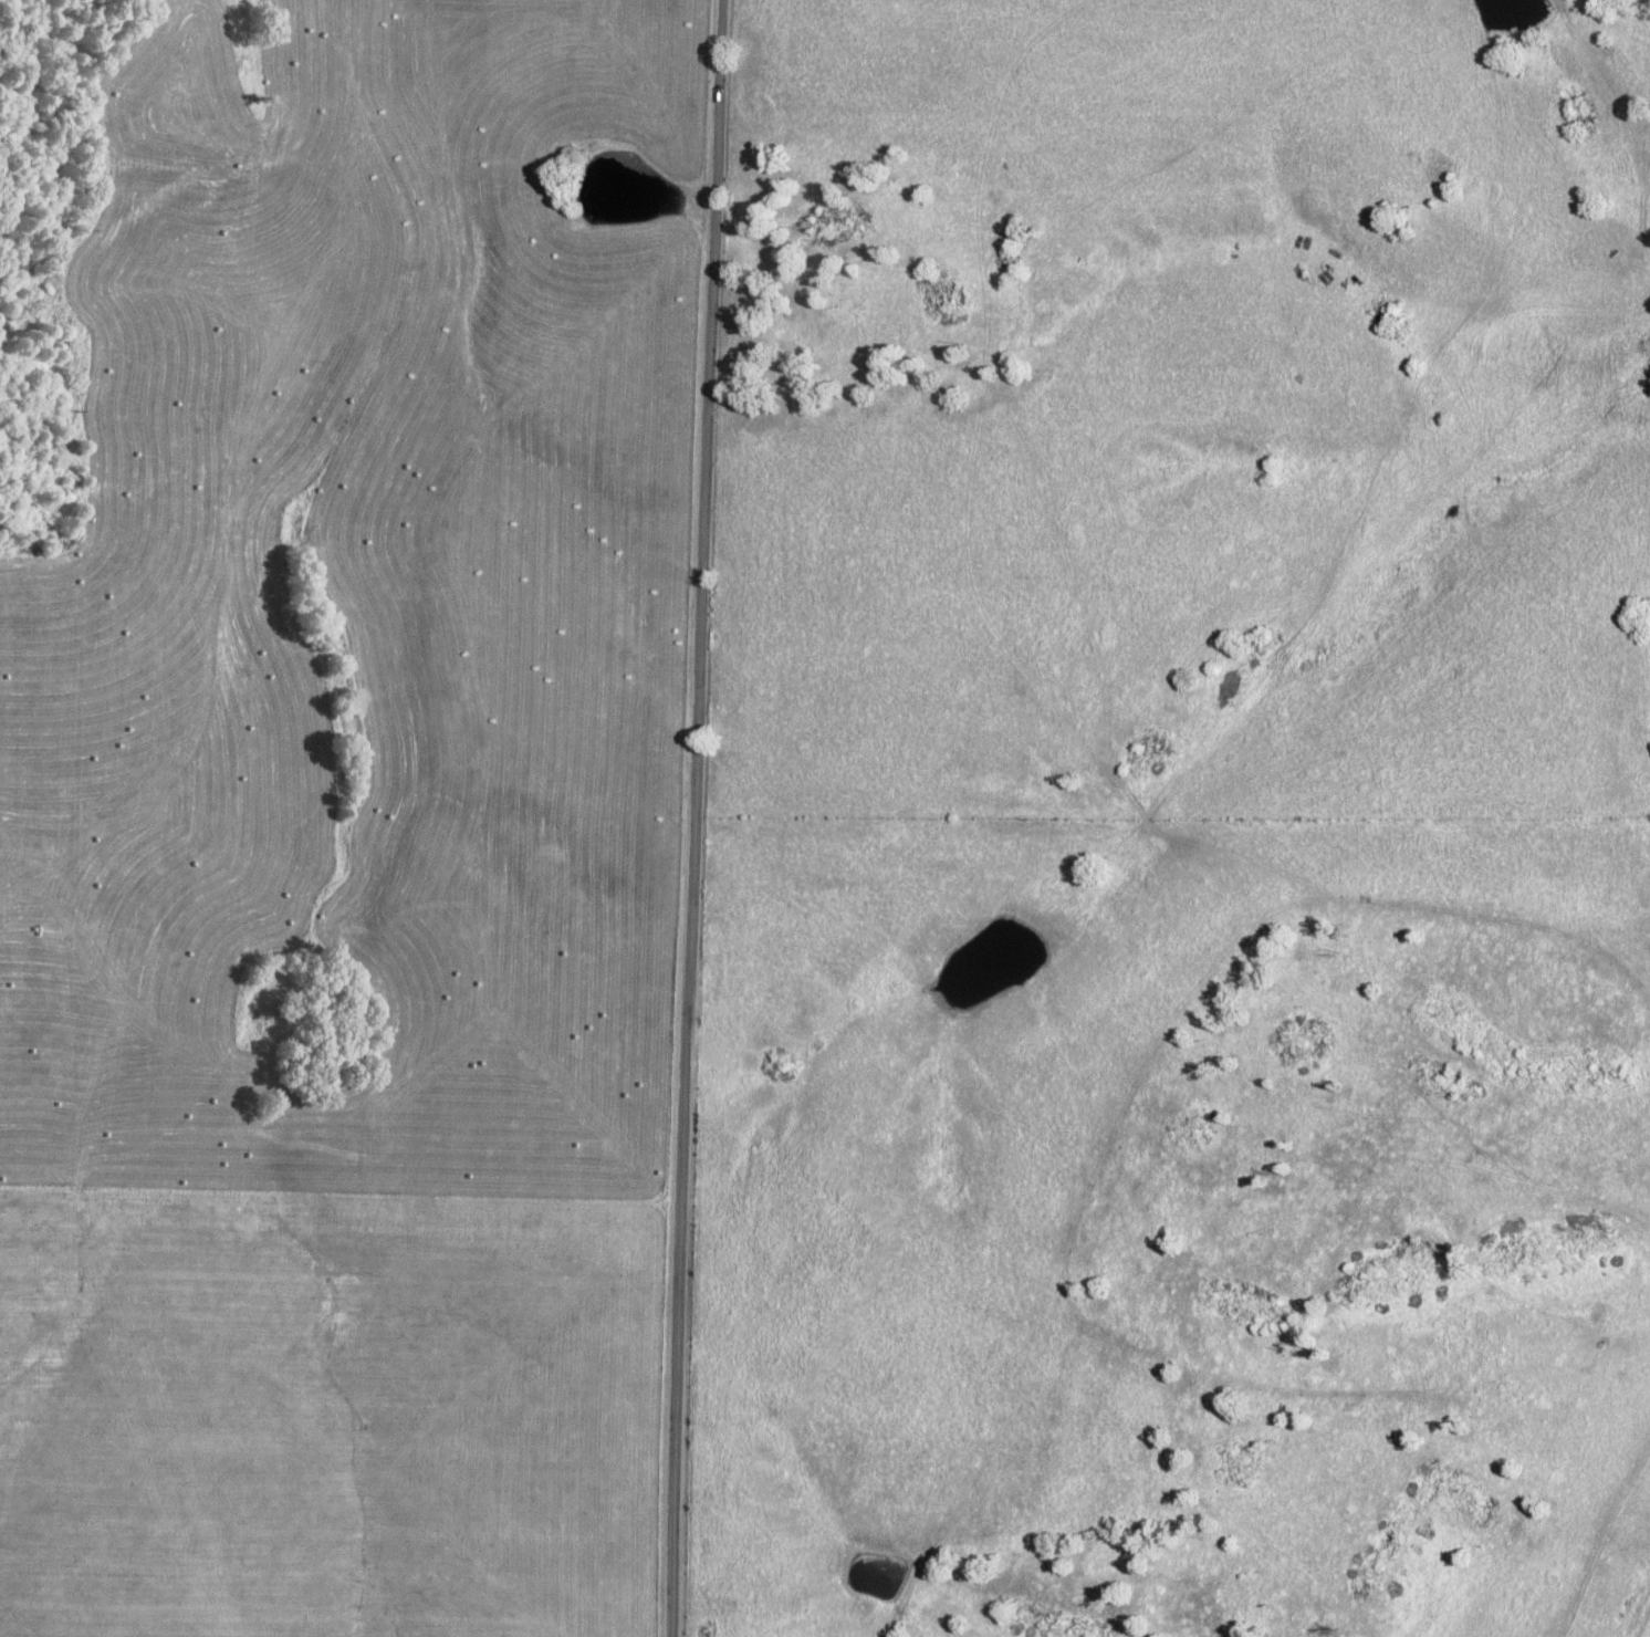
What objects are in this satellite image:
road: (690, 817)

